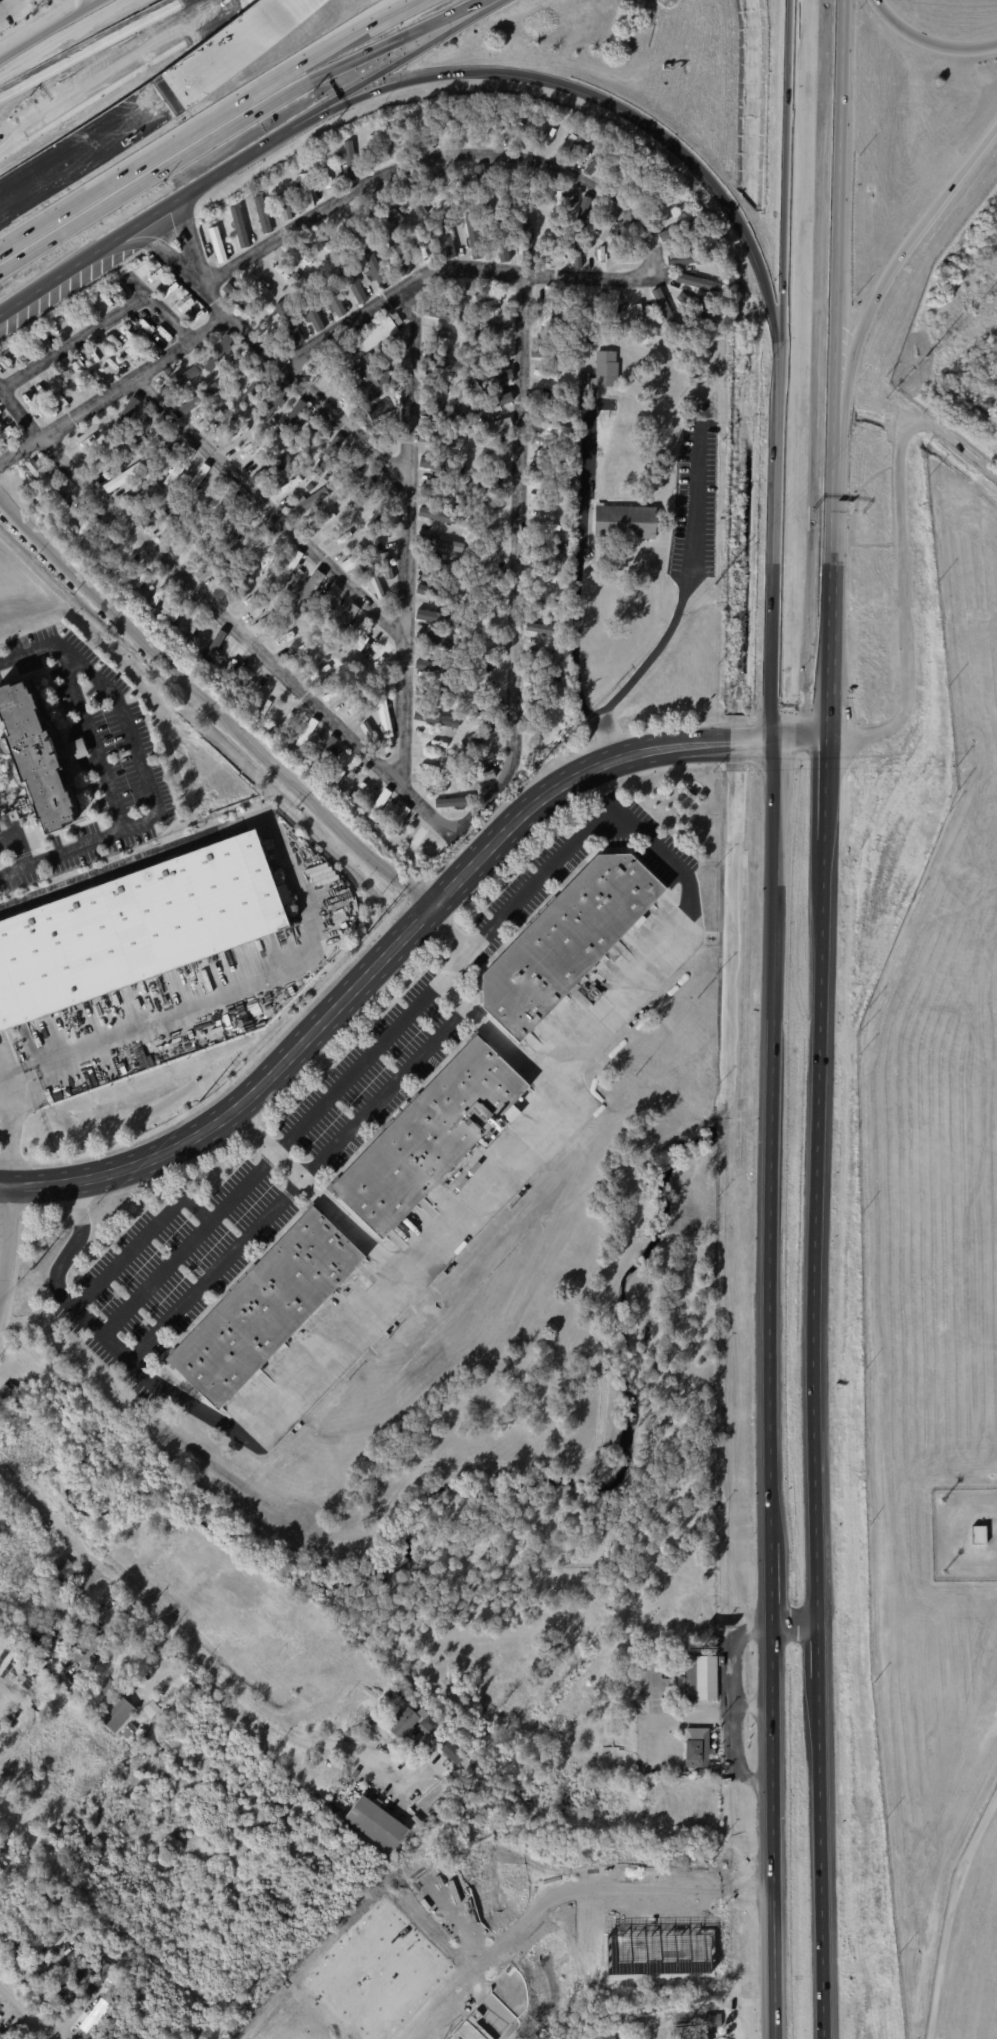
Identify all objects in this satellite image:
road: (89, 3)
road: (6, 4)
road: (72, 18)
road: (220, 41)
road: (927, 42)
road: (95, 45)
road: (20, 50)
road: (245, 51)
road: (386, 62)
road: (109, 69)
building: (519, 111)
building: (546, 118)
road: (640, 122)
road: (208, 131)
building: (524, 133)
road: (83, 134)
building: (393, 142)
building: (338, 145)
building: (575, 148)
road: (90, 156)
building: (600, 159)
building: (351, 162)
road: (218, 170)
building: (329, 182)
building: (484, 187)
building: (307, 189)
building: (509, 189)
building: (557, 202)
building: (285, 205)
road: (837, 205)
building: (662, 208)
road: (624, 210)
building: (263, 213)
building: (582, 213)
building: (393, 214)
building: (225, 216)
building: (460, 218)
building: (513, 219)
road: (792, 221)
building: (211, 222)
building: (240, 226)
building: (607, 227)
building: (680, 228)
building: (474, 234)
building: (527, 239)
building: (218, 244)
building: (503, 244)
building: (396, 252)
building: (553, 253)
building: (627, 253)
building: (576, 254)
building: (603, 257)
building: (689, 257)
road: (897, 258)
road: (73, 264)
building: (374, 268)
building: (363, 274)
building: (352, 282)
building: (699, 282)
building: (461, 288)
building: (333, 299)
building: (240, 301)
building: (613, 302)
building: (716, 302)
building: (494, 303)
building: (545, 306)
road: (161, 308)
building: (663, 308)
building: (310, 310)
building: (590, 310)
building: (640, 310)
building: (696, 310)
building: (395, 318)
building: (492, 328)
building: (395, 337)
road: (73, 340)
building: (493, 351)
building: (217, 352)
road: (269, 354)
building: (5, 360)
building: (238, 363)
building: (446, 364)
building: (605, 368)
building: (186, 375)
building: (366, 379)
building: (200, 382)
building: (585, 384)
railway: (808, 389)
road: (115, 392)
building: (440, 393)
building: (192, 398)
building: (200, 398)
building: (272, 401)
building: (495, 401)
building: (548, 402)
building: (346, 408)
building: (295, 411)
road: (20, 412)
building: (444, 414)
building: (121, 418)
building: (211, 420)
building: (489, 427)
building: (548, 428)
building: (142, 431)
building: (236, 433)
building: (312, 436)
building: (442, 441)
building: (475, 444)
building: (163, 446)
building: (81, 447)
building: (254, 451)
building: (327, 455)
building: (463, 461)
building: (102, 463)
building: (124, 463)
building: (442, 465)
building: (180, 467)
building: (272, 467)
building: (35, 469)
building: (350, 471)
building: (121, 479)
building: (197, 481)
building: (548, 481)
building: (474, 485)
building: (309, 487)
building: (286, 488)
building: (436, 488)
building: (344, 495)
building: (141, 496)
building: (389, 496)
building: (215, 499)
building: (308, 502)
building: (61, 503)
road: (267, 506)
building: (380, 514)
building: (442, 515)
building: (176, 516)
building: (624, 520)
building: (542, 523)
building: (84, 528)
building: (178, 529)
building: (491, 530)
road: (406, 534)
building: (442, 544)
building: (563, 546)
building: (221, 547)
building: (194, 548)
road: (829, 552)
building: (271, 553)
building: (544, 553)
building: (489, 556)
building: (121, 557)
building: (358, 557)
road: (904, 563)
building: (216, 565)
building: (386, 566)
building: (437, 567)
building: (287, 569)
road: (515, 569)
building: (543, 580)
road: (682, 580)
building: (376, 585)
road: (577, 585)
road: (784, 589)
building: (306, 591)
building: (542, 592)
building: (228, 597)
building: (155, 601)
building: (327, 604)
building: (489, 605)
building: (542, 605)
building: (257, 612)
building: (266, 620)
building: (343, 625)
building: (193, 627)
building: (539, 627)
road: (239, 633)
building: (217, 641)
building: (439, 644)
building: (545, 654)
building: (486, 656)
building: (317, 659)
building: (234, 661)
building: (378, 663)
building: (431, 666)
building: (320, 674)
building: (251, 681)
building: (438, 695)
building: (269, 702)
road: (213, 704)
building: (356, 708)
building: (486, 708)
building: (544, 709)
road: (824, 713)
building: (384, 715)
building: (275, 716)
building: (287, 718)
building: (440, 719)
building: (417, 727)
building: (487, 732)
building: (307, 733)
building: (548, 734)
road: (803, 734)
traffic signals: (824, 734)
traffic signals: (782, 735)
road: (129, 736)
building: (455, 737)
building: (467, 741)
building: (434, 743)
building: (327, 746)
building: (76, 748)
building: (492, 753)
building: (35, 755)
building: (426, 761)
building: (428, 769)
road: (587, 770)
road: (102, 771)
building: (480, 779)
road: (601, 779)
building: (362, 783)
building: (437, 788)
building: (380, 802)
building: (453, 803)
road: (606, 804)
building: (398, 823)
building: (417, 842)
road: (680, 870)
building: (134, 925)
road: (448, 929)
building: (569, 941)
road: (457, 961)
road: (487, 1029)
road: (107, 1037)
building: (532, 1041)
road: (10, 1075)
road: (246, 1092)
building: (434, 1134)
road: (267, 1161)
road: (297, 1183)
road: (313, 1190)
road: (1, 1200)
road: (78, 1200)
road: (653, 1234)
road: (139, 1239)
road: (415, 1256)
building: (268, 1307)
road: (5, 1320)
airport: (939, 1329)
road: (116, 1347)
park: (500, 1365)
road: (768, 1386)
road: (814, 1386)
road: (619, 1509)
road: (385, 1514)
building: (977, 1533)
road: (369, 1553)
road: (377, 1568)
building: (66, 1569)
park: (225, 1604)
road: (150, 1608)
road: (794, 1624)
building: (60, 1636)
building: (37, 1647)
building: (44, 1663)
building: (517, 1676)
building: (705, 1678)
building: (108, 1686)
building: (150, 1707)
building: (119, 1713)
building: (406, 1723)
building: (430, 1724)
building: (135, 1726)
building: (350, 1732)
building: (702, 1746)
building: (453, 1753)
road: (372, 1766)
road: (391, 1772)
building: (380, 1822)
park: (209, 1852)
road: (566, 1892)
road: (647, 1913)
road: (949, 1914)
road: (454, 1921)
road: (585, 1927)
building: (83, 1939)
building: (56, 1942)
building: (100, 1976)
building: (260, 2012)
road: (25, 2014)
building: (705, 2023)
road: (297, 2032)
building: (600, 2034)
building: (570, 2035)
building: (694, 2036)
building: (262, 2037)

